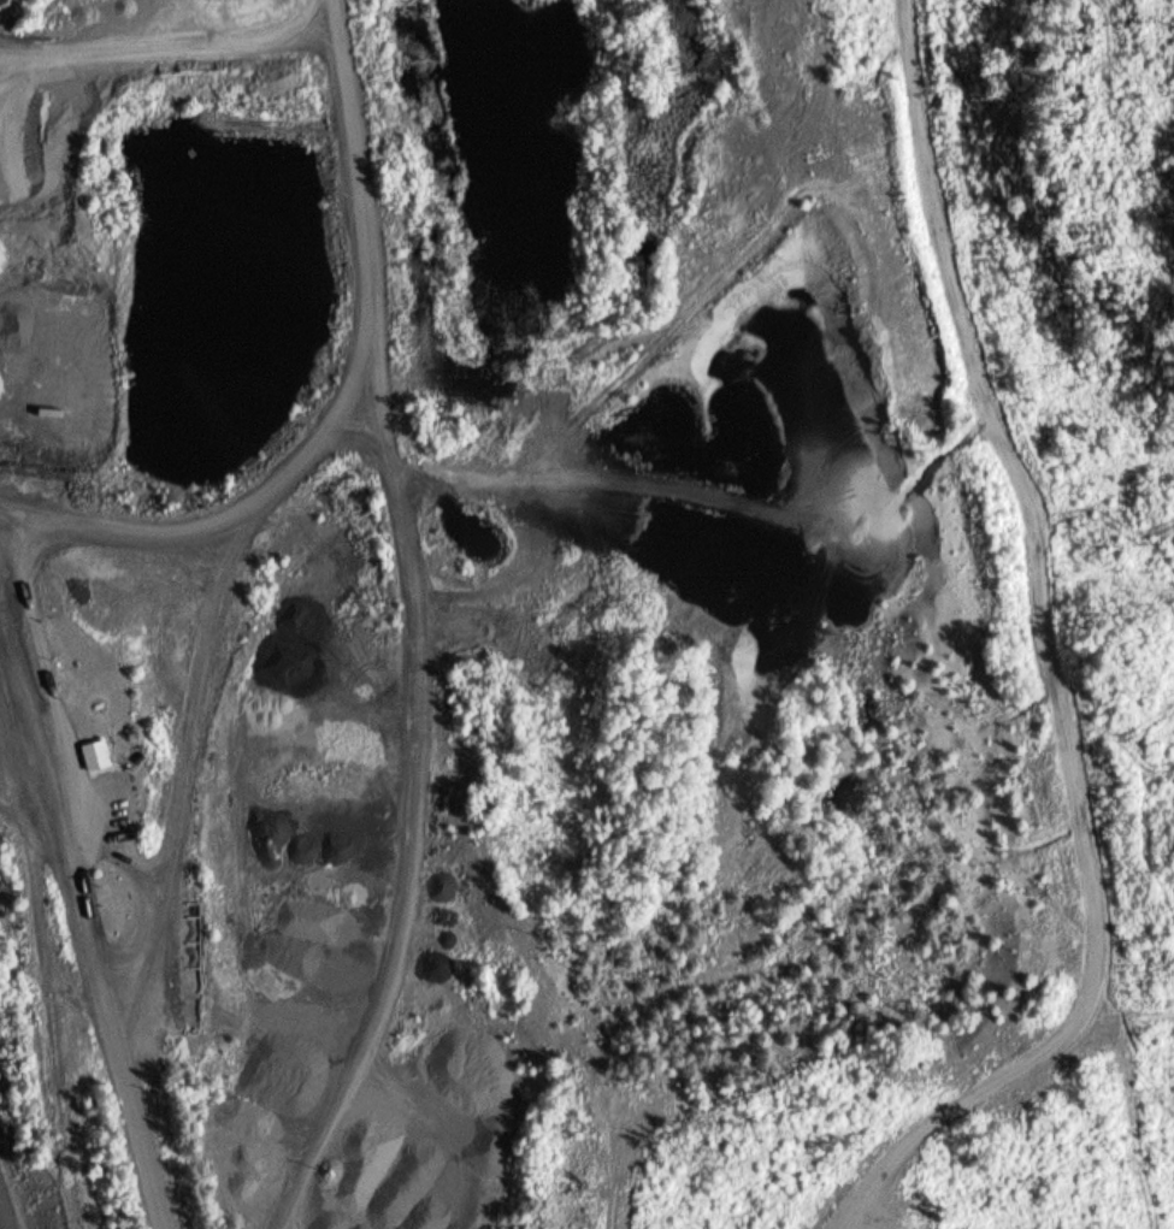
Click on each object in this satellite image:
road: (226, 500)
road: (408, 630)
road: (199, 749)
road: (92, 899)

